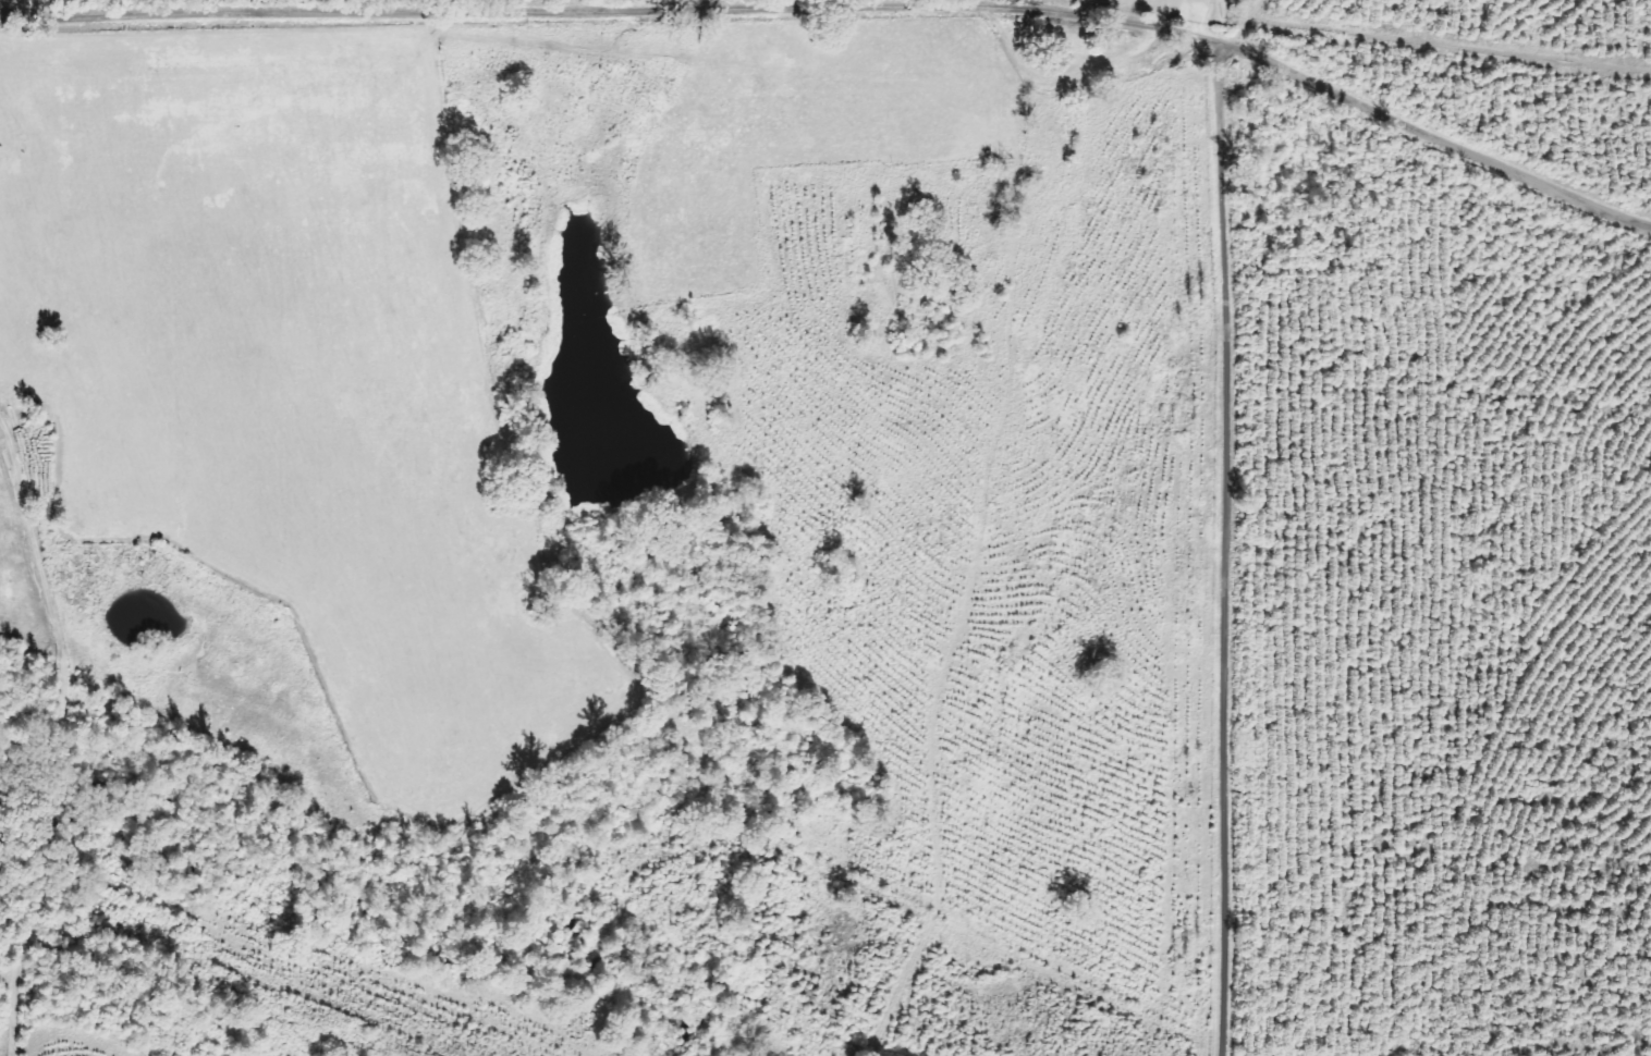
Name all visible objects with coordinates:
road: (886, 4)
road: (1224, 544)

